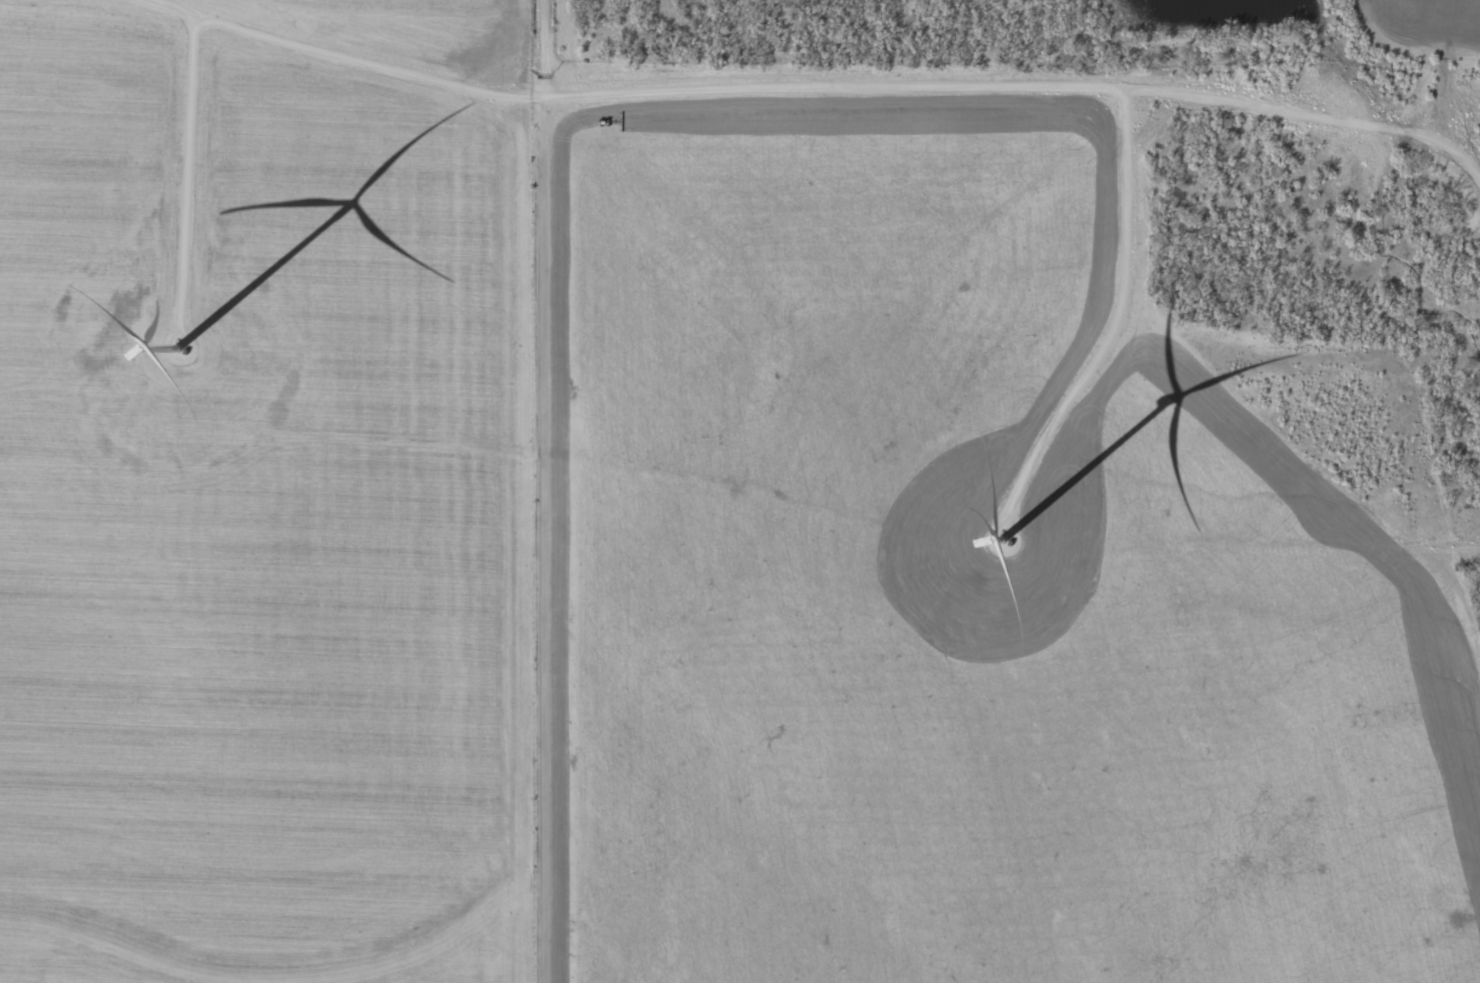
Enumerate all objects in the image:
wind turbine: (183, 344)
road: (547, 491)
wind turbine: (1009, 544)

